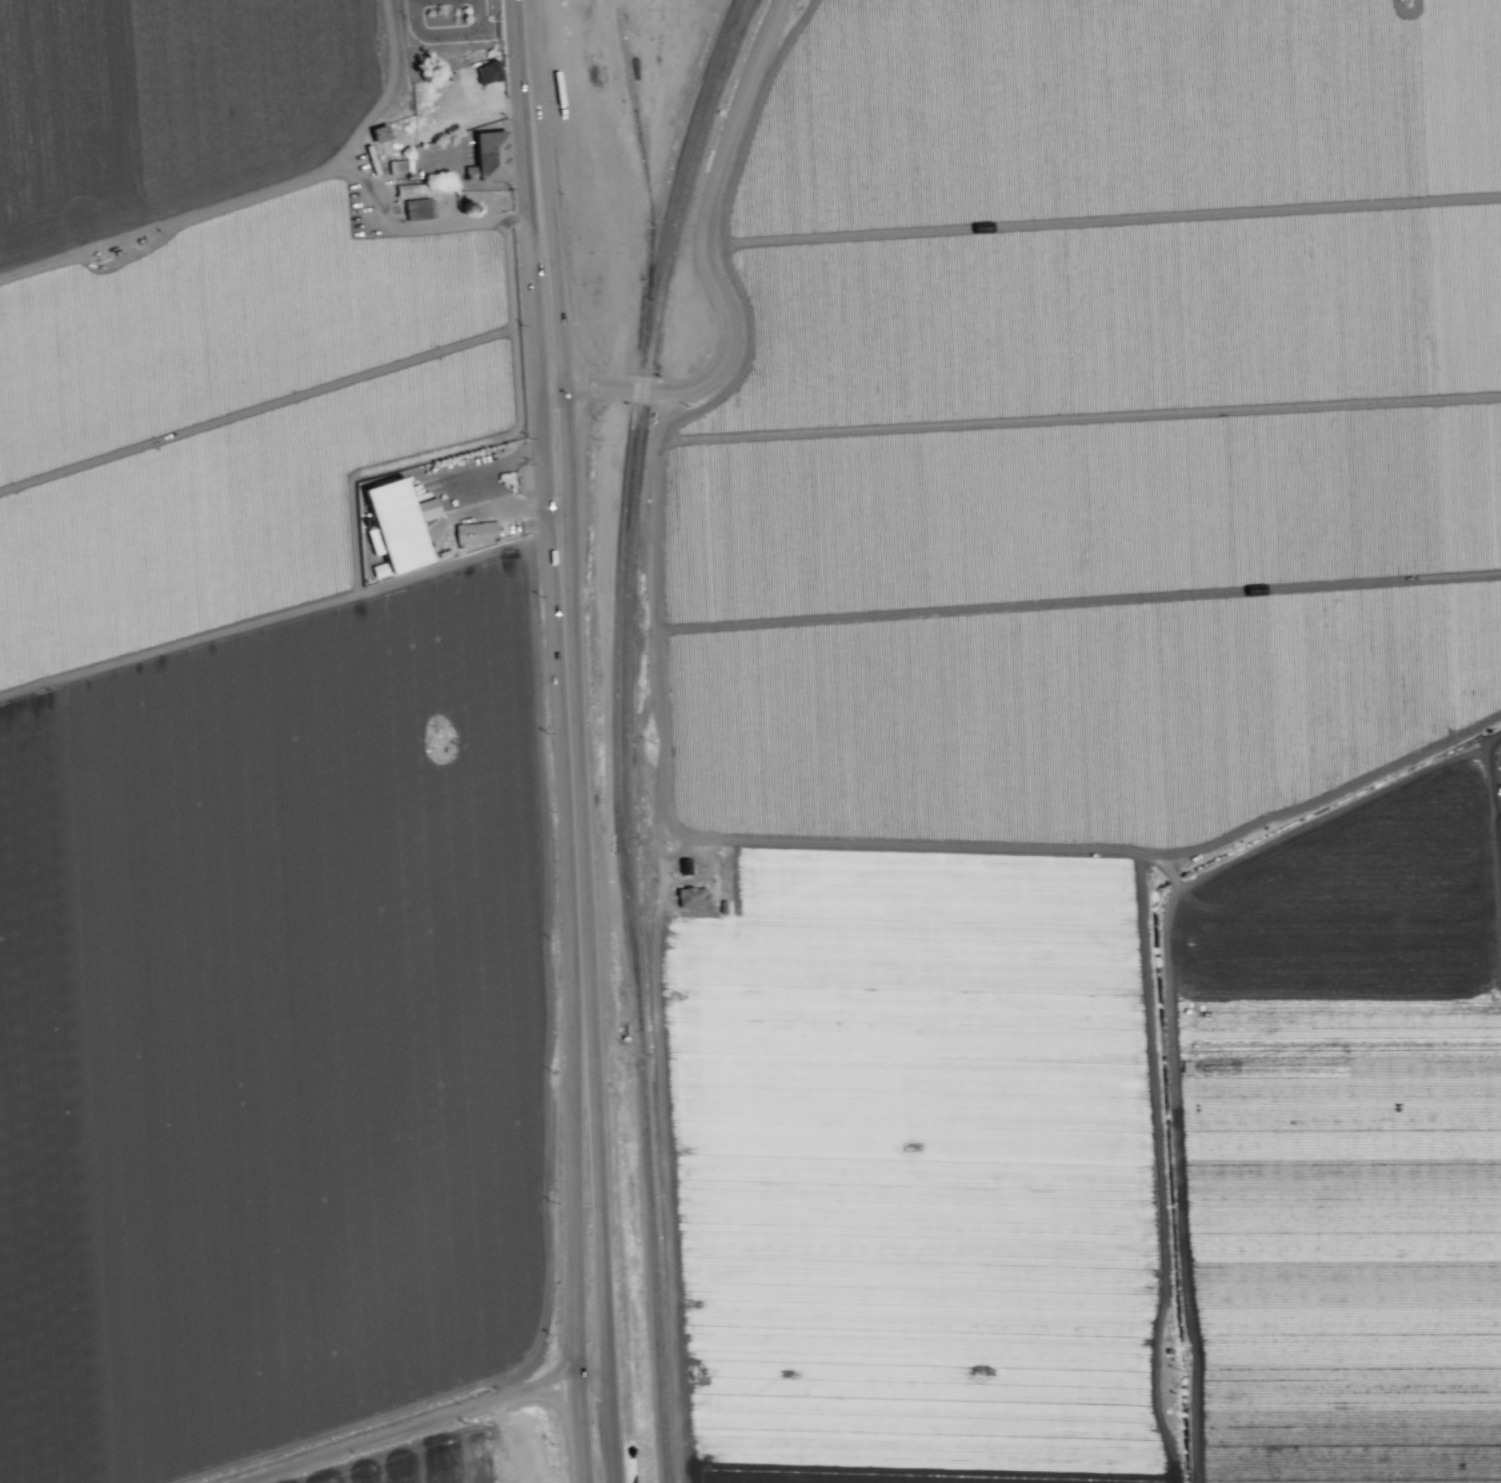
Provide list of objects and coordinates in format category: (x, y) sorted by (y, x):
railway: (616, 9)
road: (477, 16)
road: (453, 34)
road: (524, 38)
building: (488, 72)
building: (379, 133)
railway: (638, 141)
building: (488, 157)
building: (396, 166)
railway: (664, 174)
building: (418, 208)
road: (721, 224)
road: (706, 264)
road: (545, 341)
railway: (612, 352)
road: (573, 365)
road: (546, 393)
road: (586, 415)
railway: (632, 507)
railway: (624, 508)
building: (397, 525)
building: (476, 532)
road: (658, 632)
crop: (1094, 756)
road: (578, 777)
road: (561, 778)
crop: (254, 784)
road: (1062, 832)
building: (692, 896)
railway: (653, 1256)
road: (594, 1310)
road: (567, 1361)
road: (565, 1404)
road: (598, 1423)
road: (412, 1429)

